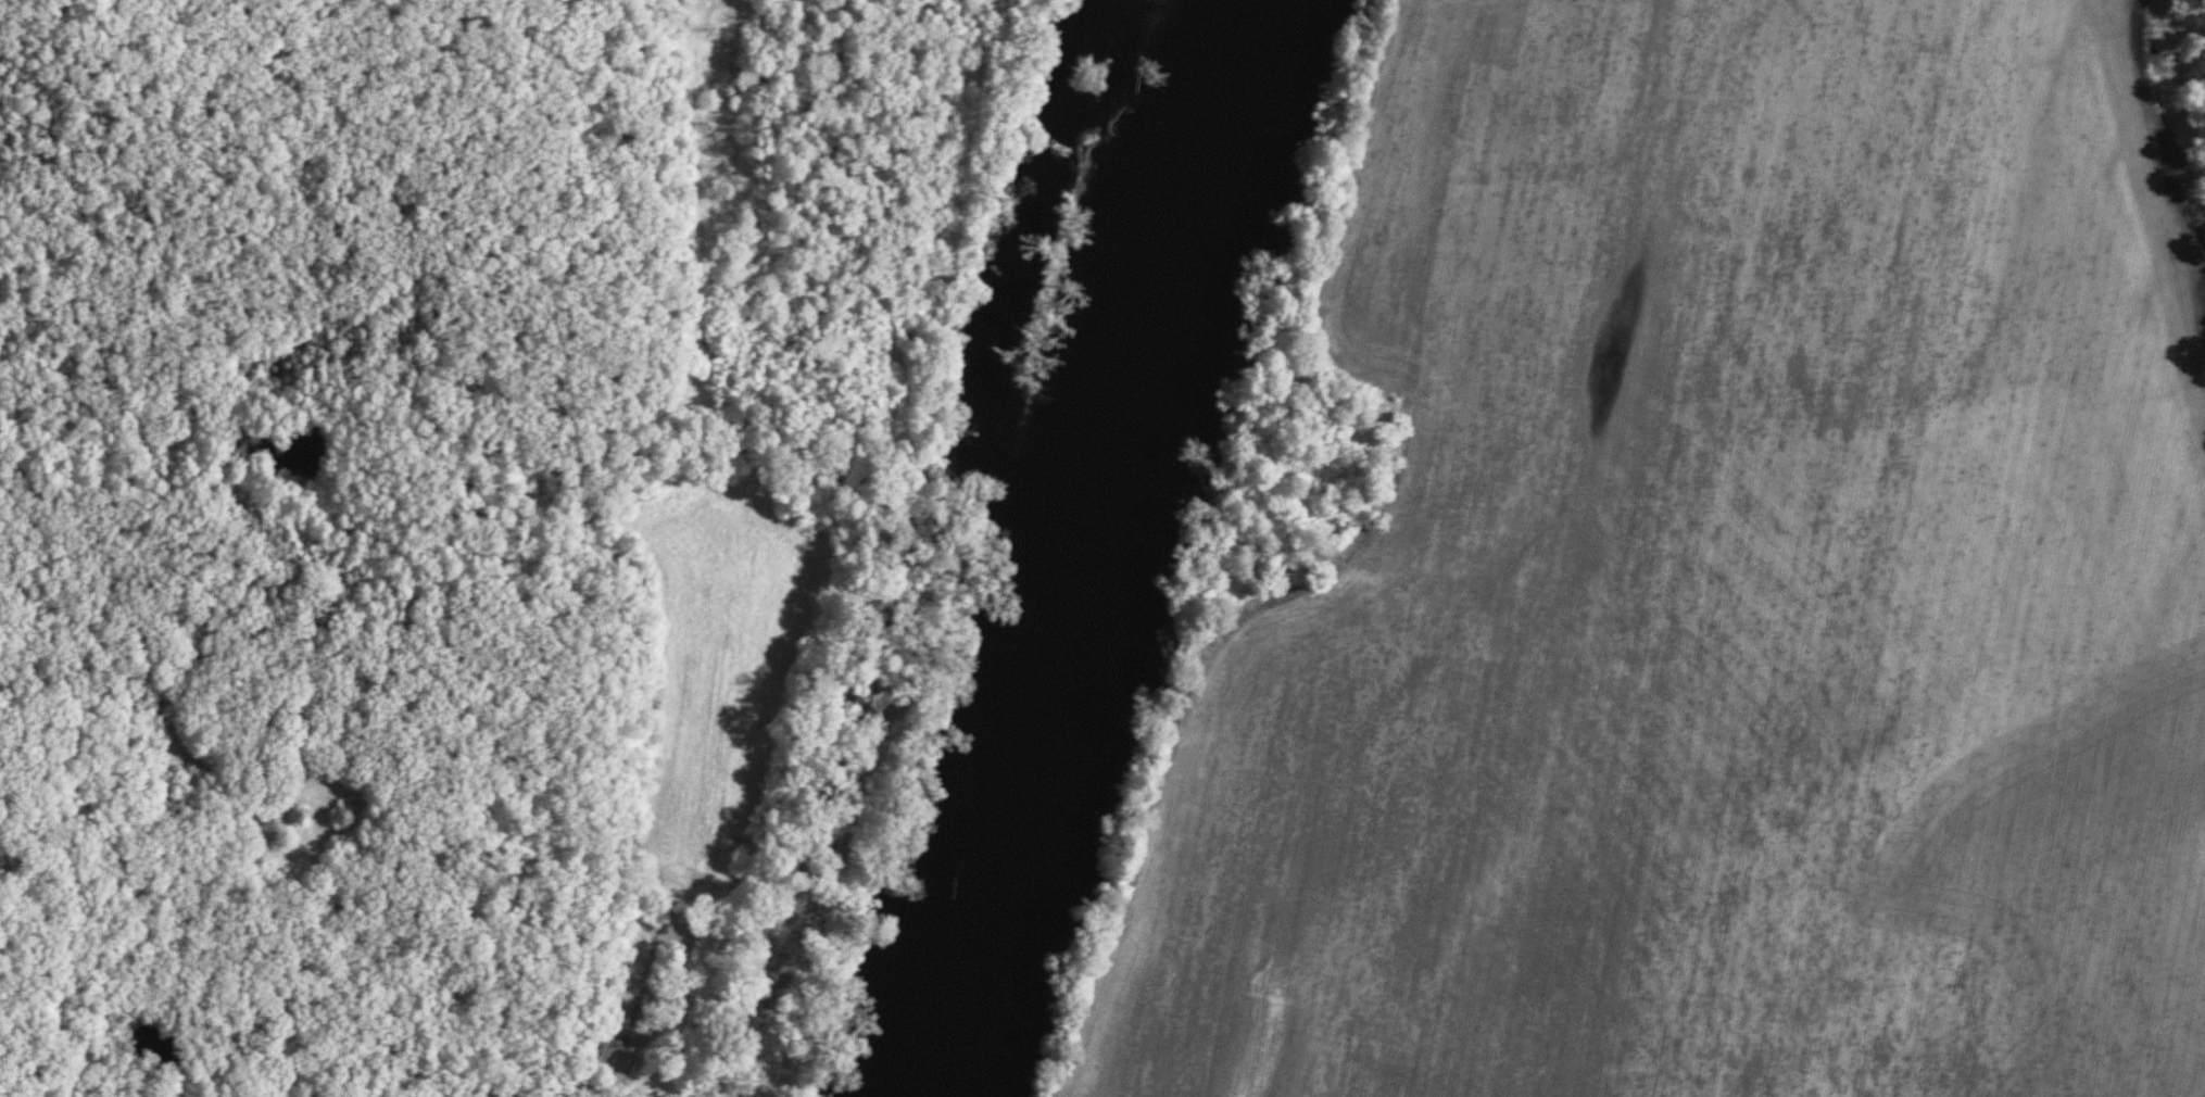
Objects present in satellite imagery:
river: (1069, 542)
building: (698, 1021)

